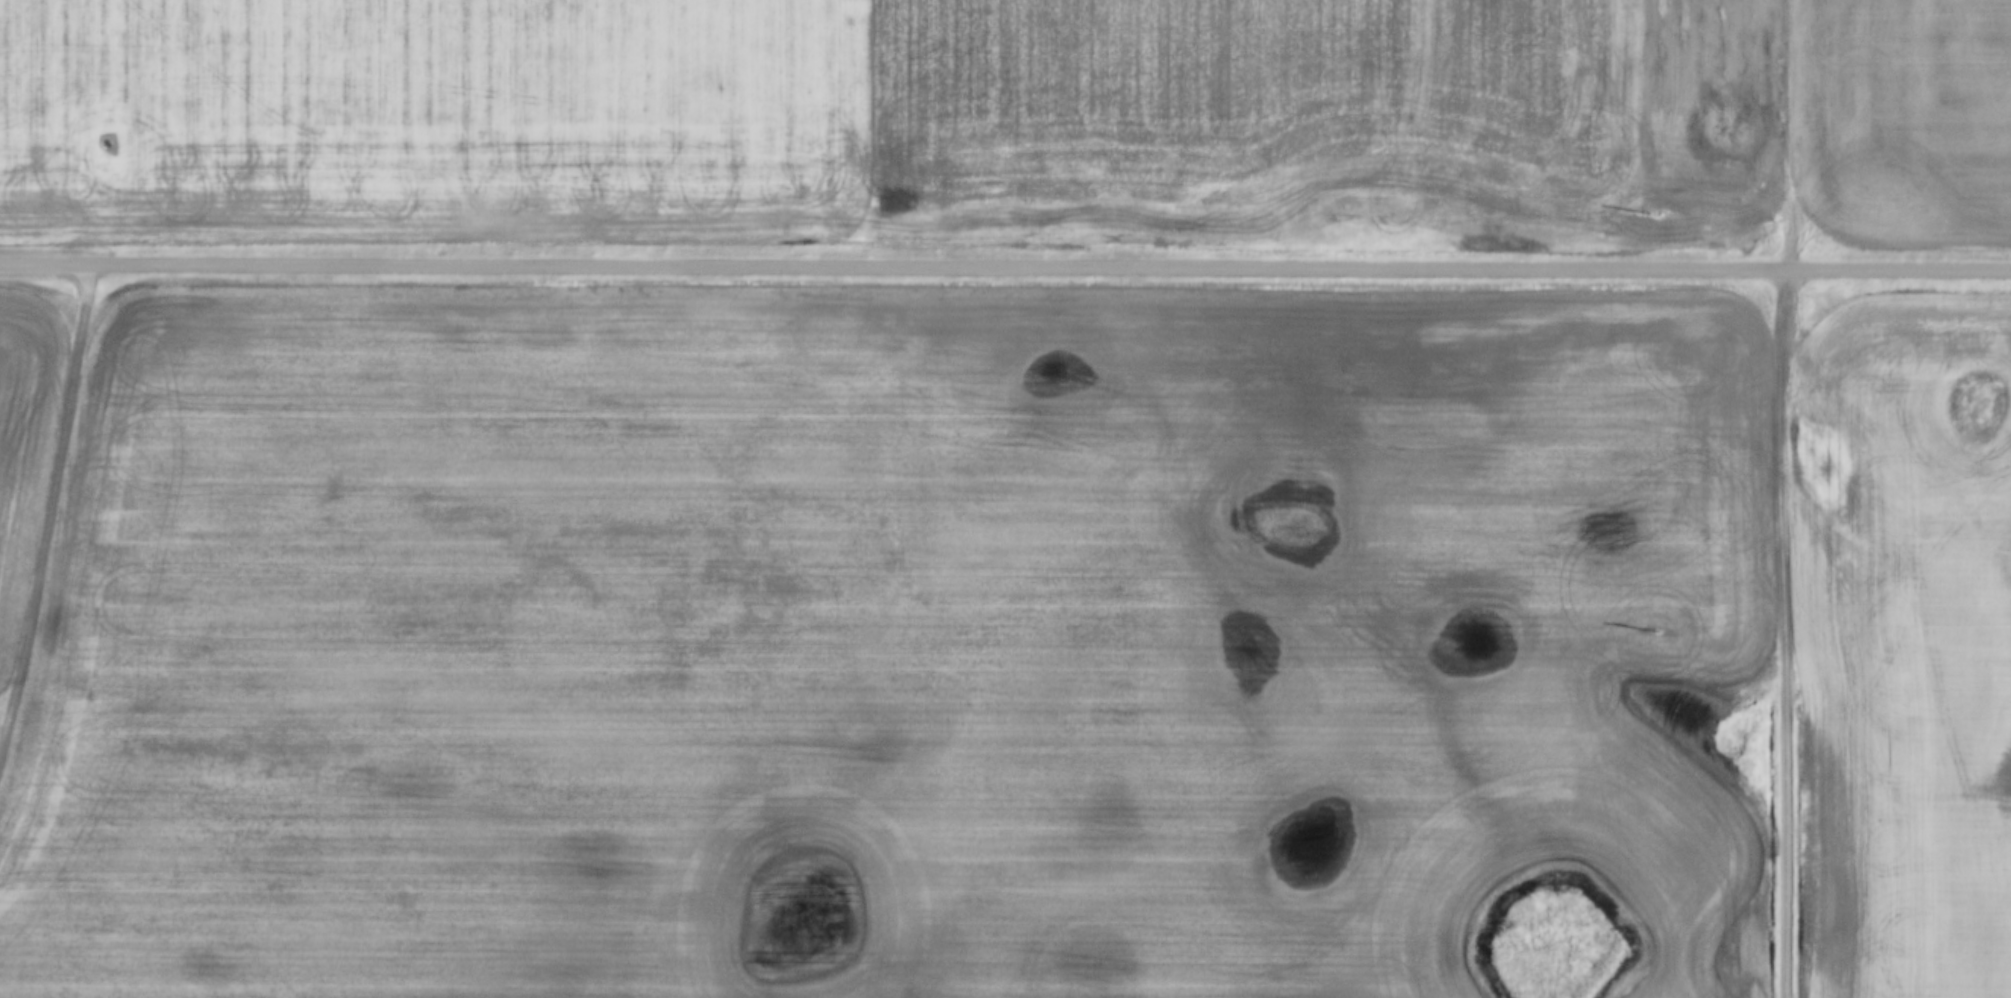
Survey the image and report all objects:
road: (1005, 268)
road: (1783, 498)
road: (47, 505)

